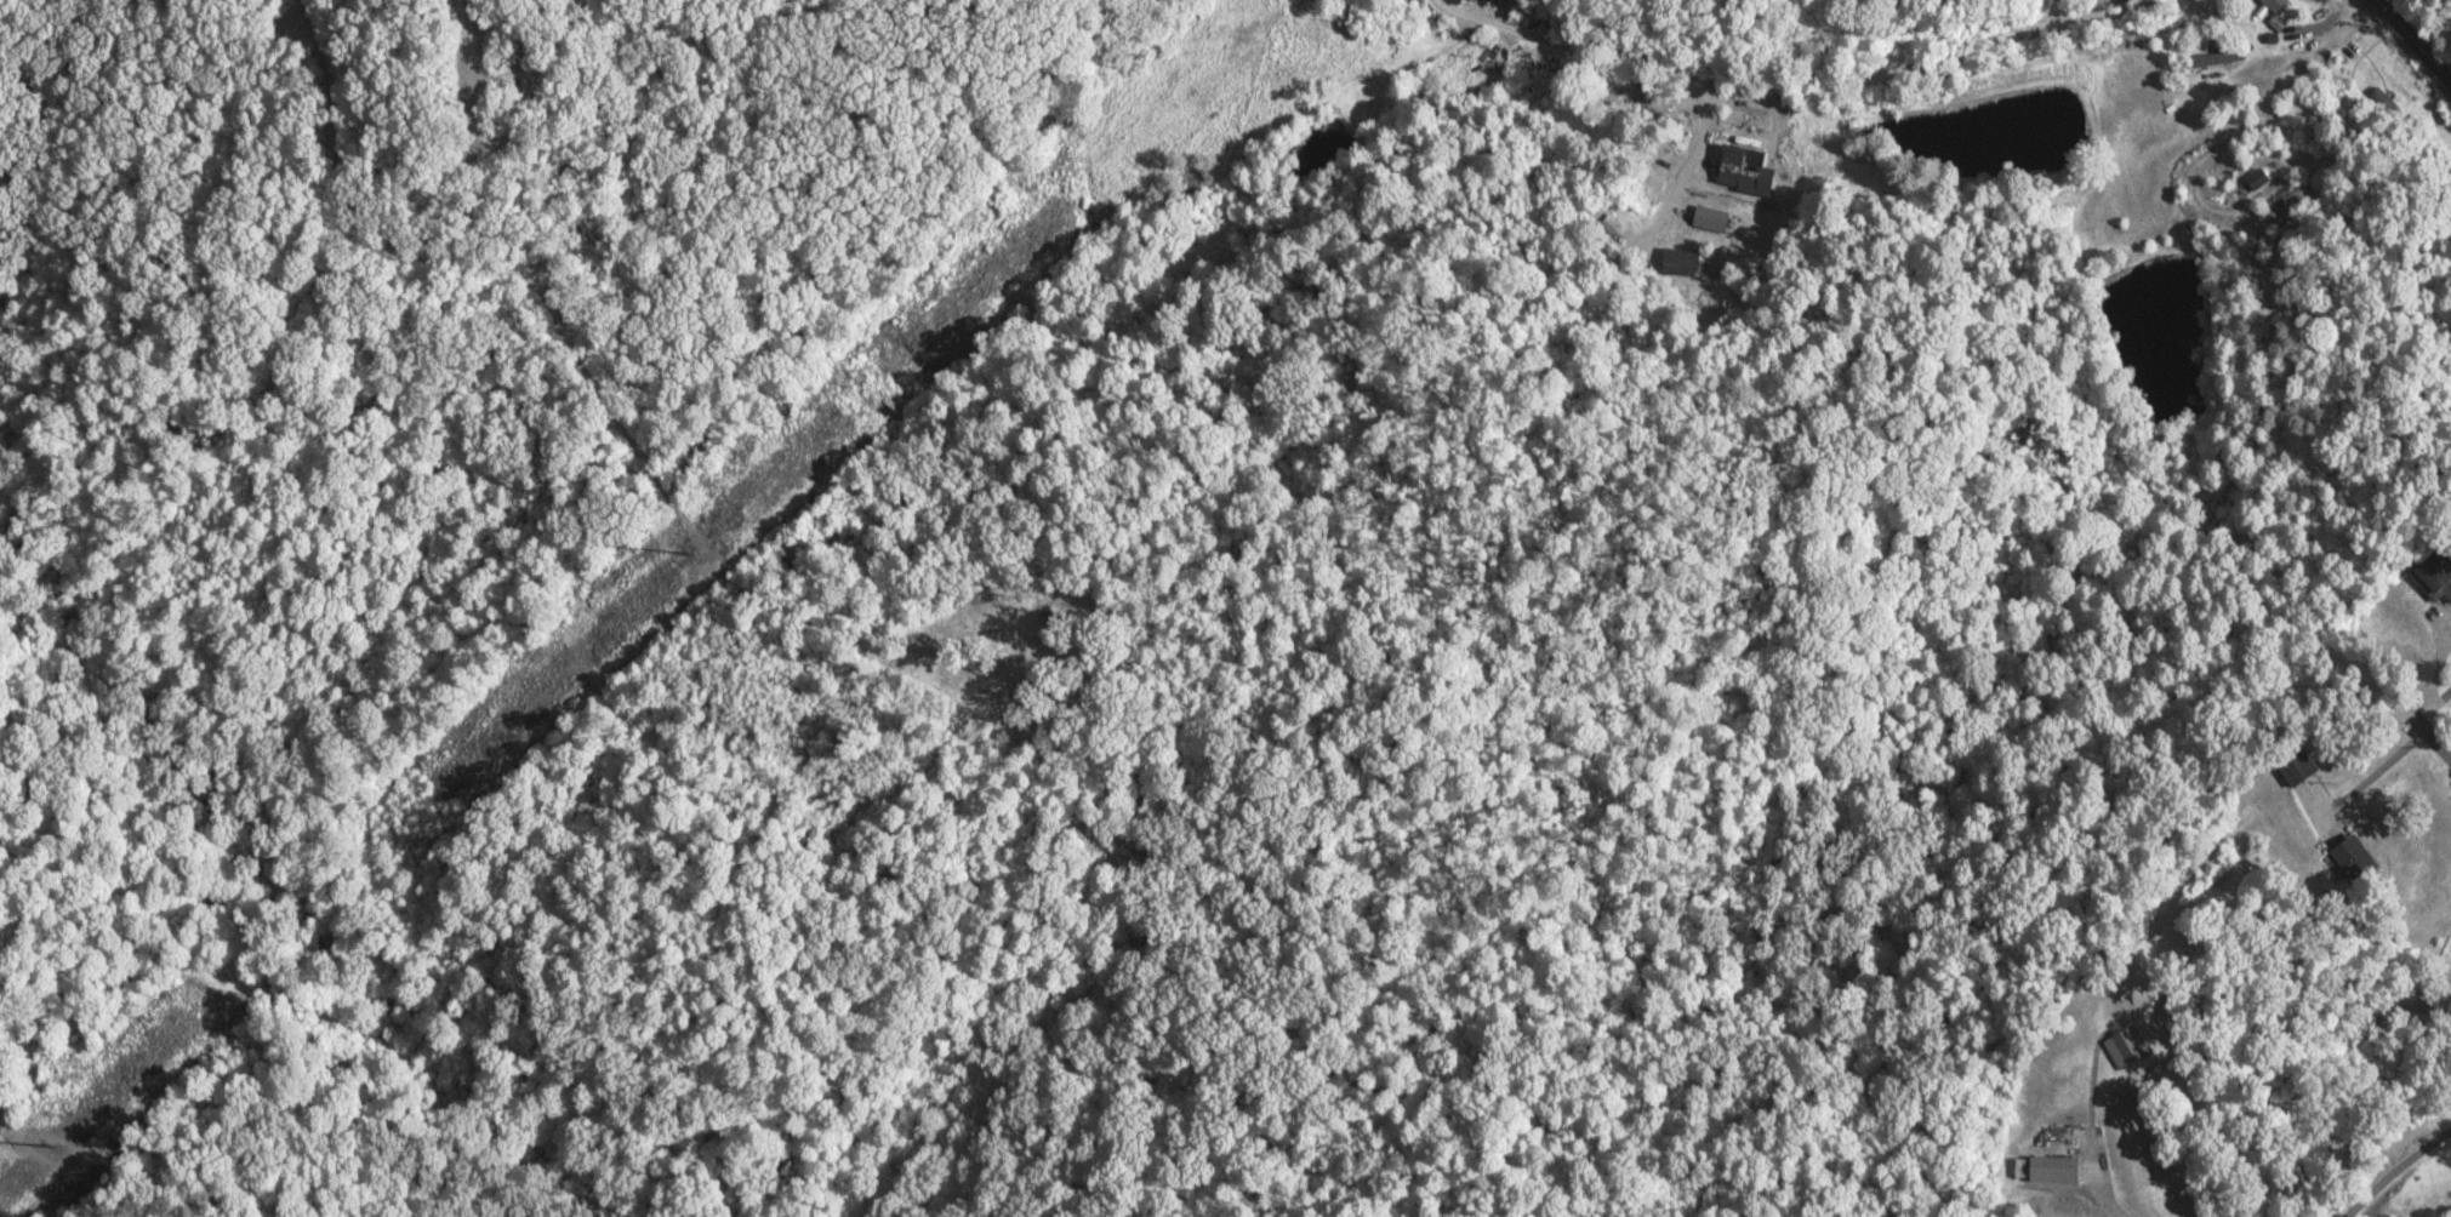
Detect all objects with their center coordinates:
road: (489, 1)
building: (2279, 5)
road: (2412, 40)
road: (1790, 75)
building: (2388, 105)
building: (2229, 120)
building: (1745, 165)
building: (2259, 178)
power tower: (692, 550)
building: (2436, 577)
road: (2444, 752)
building: (2304, 769)
building: (2358, 858)
building: (2130, 1049)
power tower: (56, 1144)
road: (2393, 1169)
building: (2056, 1170)

